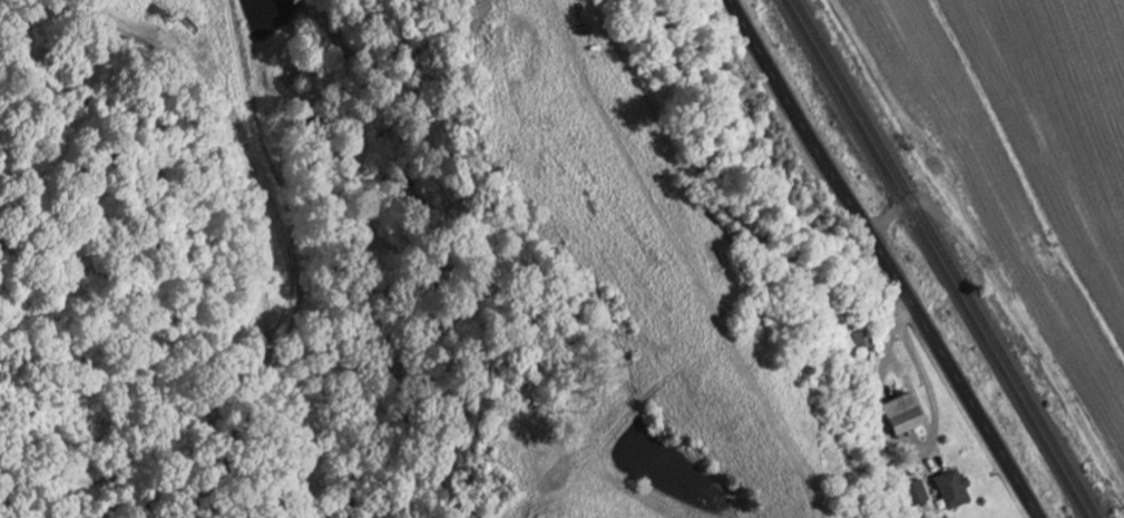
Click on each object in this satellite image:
crop: (1013, 185)
road: (929, 204)
road: (882, 258)
railway: (934, 258)
railway: (946, 258)
road: (926, 378)

